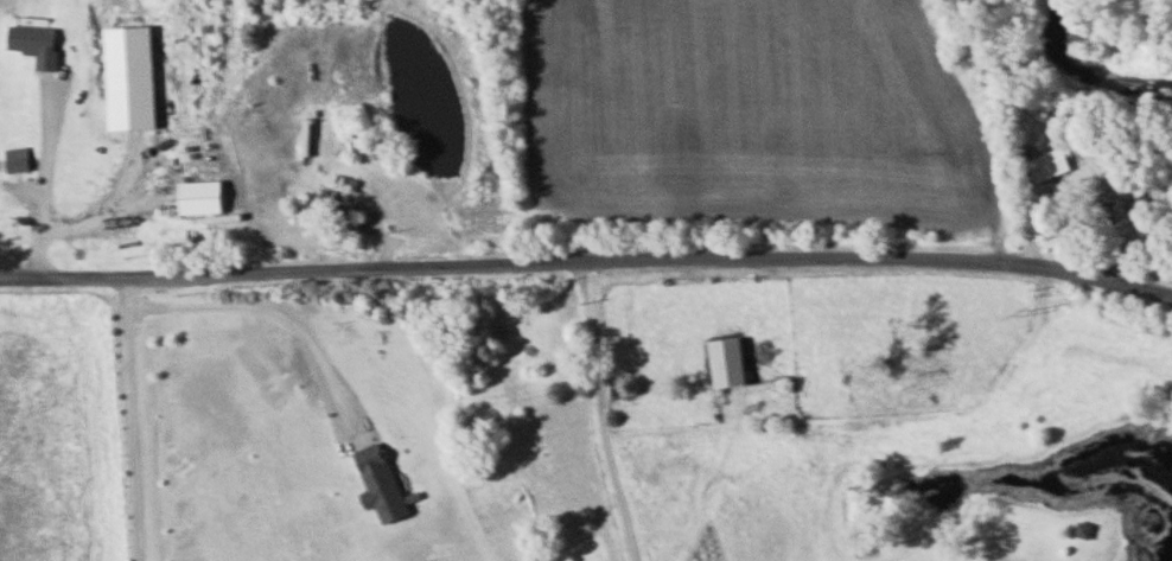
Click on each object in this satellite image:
building: (32, 44)
building: (126, 78)
building: (13, 160)
road: (40, 165)
building: (1044, 166)
building: (1115, 183)
building: (197, 198)
building: (332, 209)
road: (587, 260)
road: (260, 306)
power tower: (1026, 313)
building: (726, 362)
road: (603, 412)
road: (122, 419)
road: (983, 427)
road: (675, 428)
building: (376, 483)
building: (1082, 531)

